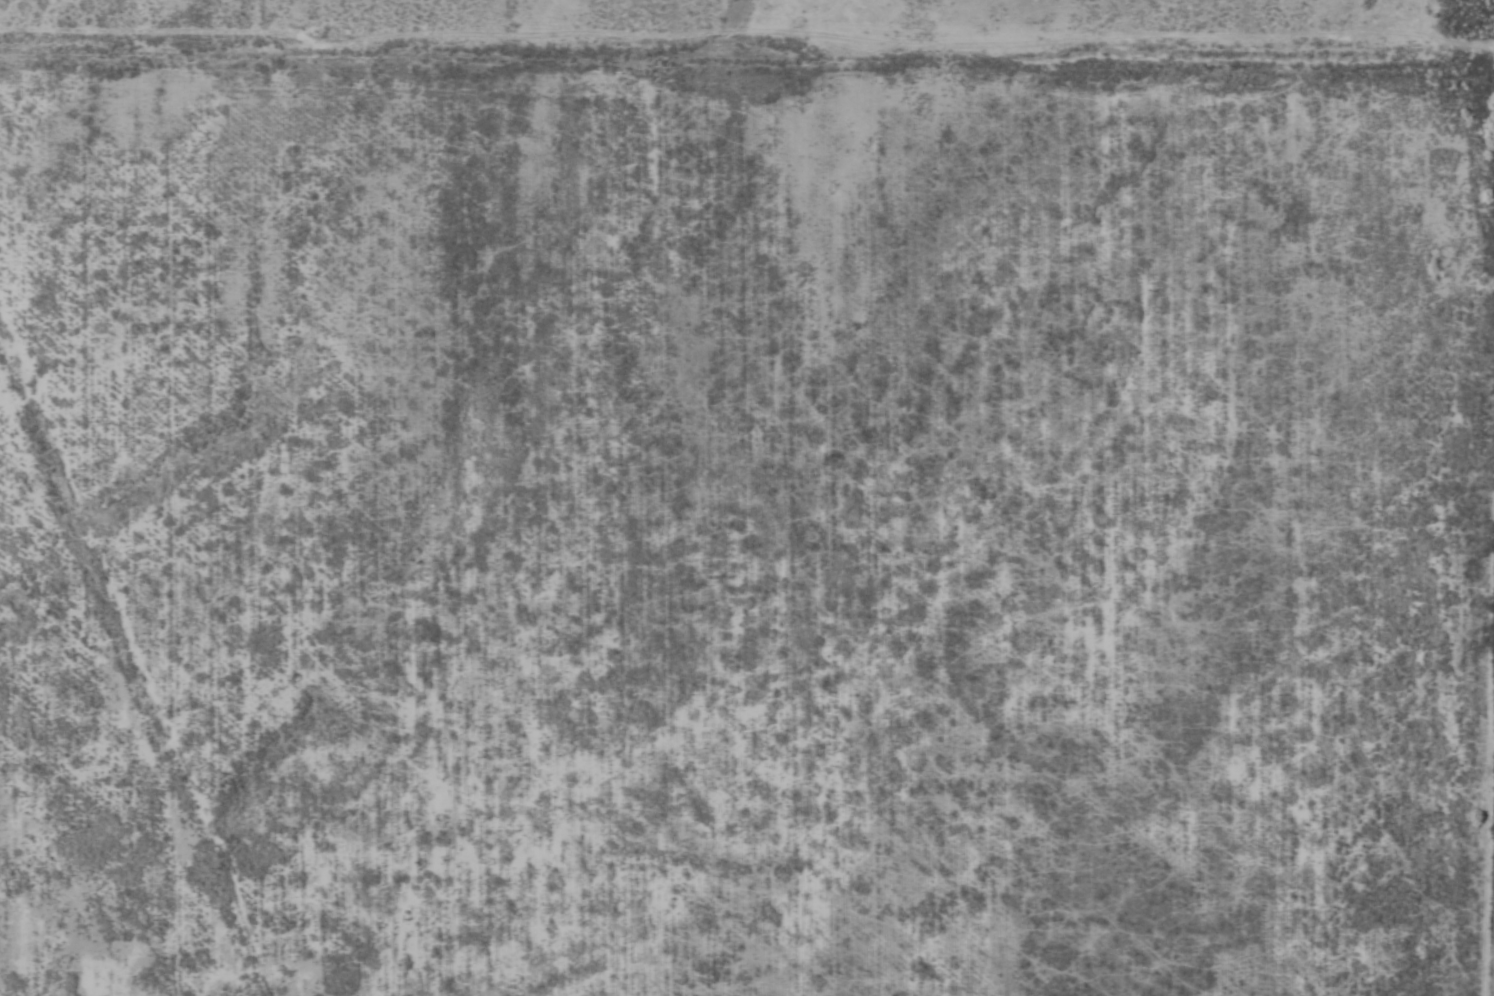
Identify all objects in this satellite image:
crop: (1481, 511)

